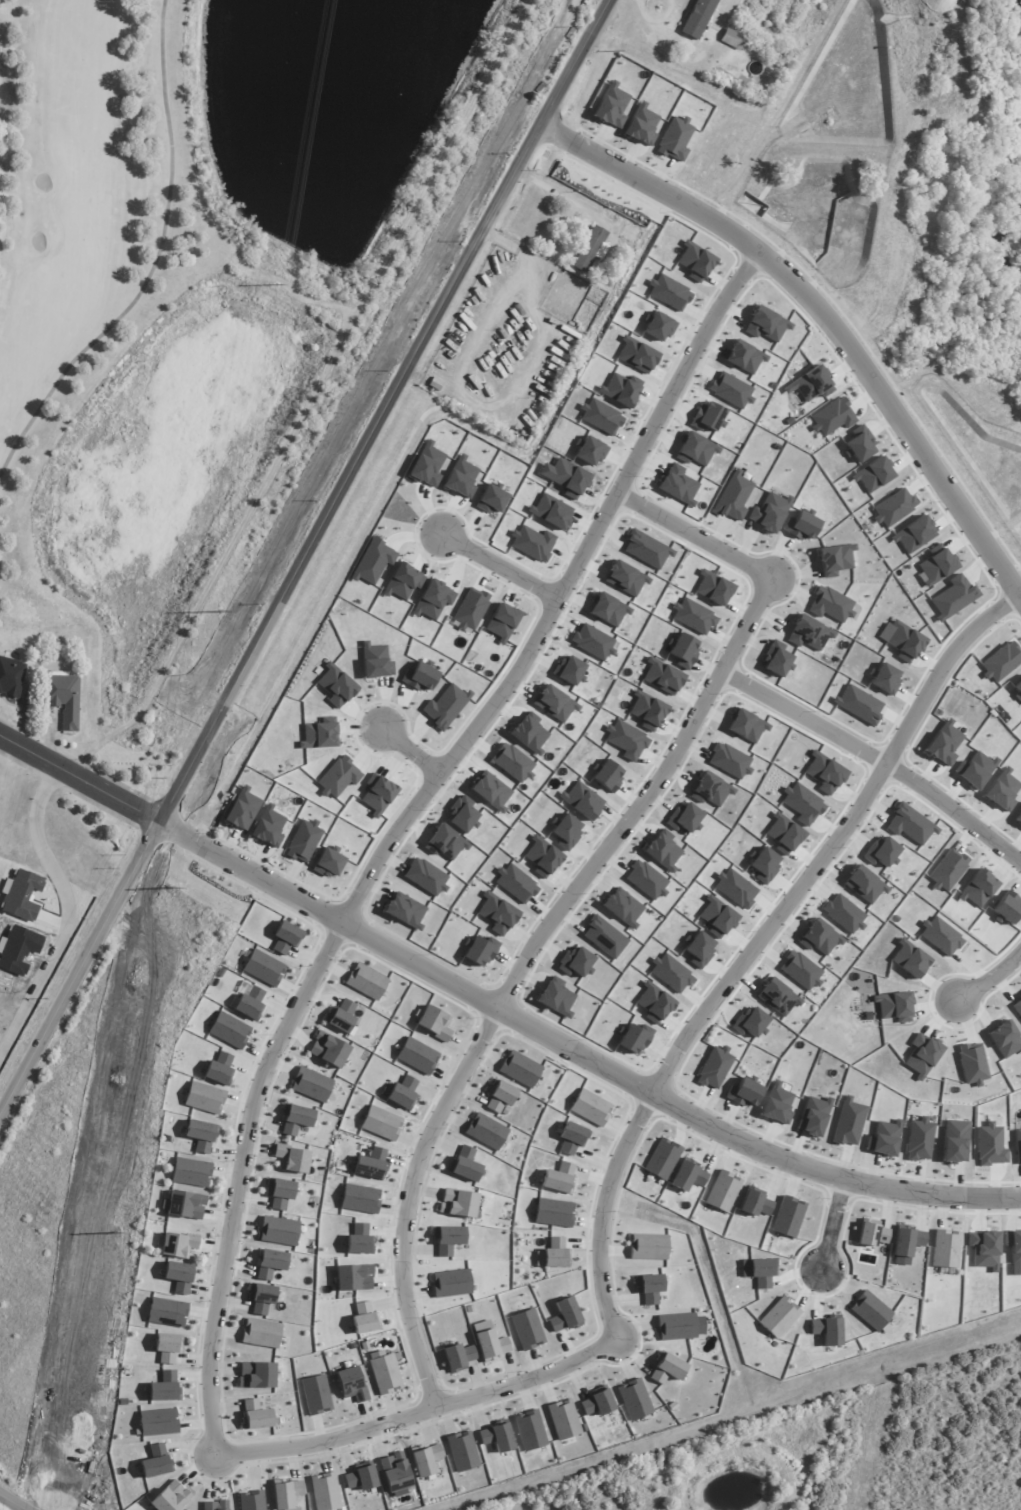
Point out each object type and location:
building: (698, 17)
road: (655, 21)
building: (731, 39)
building: (612, 106)
building: (642, 125)
building: (675, 139)
park: (951, 195)
building: (629, 233)
building: (589, 249)
park: (77, 256)
building: (695, 261)
building: (606, 281)
building: (669, 292)
road: (822, 313)
building: (766, 324)
building: (658, 326)
building: (637, 355)
building: (745, 357)
building: (812, 384)
building: (621, 389)
building: (731, 390)
building: (601, 417)
building: (708, 417)
building: (832, 417)
building: (859, 444)
building: (696, 449)
building: (590, 450)
building: (427, 465)
building: (873, 474)
building: (461, 477)
building: (570, 478)
building: (677, 485)
building: (733, 497)
building: (492, 499)
building: (893, 508)
building: (551, 511)
building: (770, 512)
building: (801, 525)
building: (914, 535)
building: (532, 543)
building: (646, 549)
building: (835, 559)
road: (302, 560)
building: (372, 561)
road: (499, 565)
building: (937, 567)
building: (625, 578)
building: (402, 582)
building: (713, 588)
building: (953, 597)
building: (432, 600)
building: (831, 605)
building: (470, 609)
building: (608, 609)
building: (693, 616)
building: (502, 622)
building: (809, 633)
building: (901, 639)
building: (593, 642)
building: (683, 650)
building: (777, 659)
building: (375, 661)
building: (569, 670)
building: (662, 676)
building: (420, 677)
building: (12, 678)
building: (884, 679)
building: (336, 685)
building: (1018, 688)
building: (66, 699)
building: (554, 704)
building: (859, 705)
building: (446, 706)
building: (647, 710)
building: (746, 726)
building: (529, 735)
building: (318, 736)
building: (626, 739)
building: (944, 743)
road: (410, 751)
road: (876, 757)
building: (729, 761)
building: (513, 762)
building: (976, 769)
building: (824, 772)
building: (607, 775)
building: (338, 777)
building: (710, 789)
building: (490, 790)
building: (1002, 791)
building: (379, 795)
building: (581, 801)
building: (802, 803)
building: (242, 809)
building: (463, 815)
building: (1018, 818)
building: (684, 819)
road: (403, 823)
building: (910, 824)
building: (268, 827)
building: (566, 832)
building: (783, 834)
building: (303, 840)
building: (445, 842)
building: (663, 850)
building: (882, 852)
building: (542, 856)
building: (328, 862)
building: (763, 864)
building: (948, 871)
building: (426, 876)
building: (646, 880)
building: (515, 883)
building: (864, 884)
building: (735, 888)
building: (978, 889)
road: (565, 897)
building: (623, 907)
building: (1007, 908)
road: (67, 910)
building: (405, 910)
building: (497, 914)
building: (844, 914)
building: (718, 917)
building: (940, 936)
building: (286, 937)
building: (604, 937)
building: (820, 938)
road: (755, 945)
building: (698, 949)
building: (481, 950)
building: (909, 959)
building: (575, 962)
building: (263, 968)
building: (801, 970)
building: (670, 973)
road: (990, 978)
building: (366, 981)
building: (556, 997)
building: (777, 997)
building: (653, 1002)
building: (250, 1003)
building: (894, 1006)
building: (1017, 1007)
road: (496, 1008)
building: (341, 1016)
building: (434, 1023)
building: (749, 1023)
building: (229, 1030)
building: (633, 1037)
building: (1005, 1039)
building: (329, 1050)
building: (417, 1055)
building: (923, 1056)
building: (973, 1064)
building: (714, 1067)
building: (520, 1069)
building: (220, 1070)
building: (311, 1085)
building: (403, 1093)
building: (744, 1093)
building: (499, 1096)
building: (204, 1098)
building: (776, 1104)
building: (590, 1107)
building: (813, 1116)
building: (295, 1118)
building: (848, 1122)
building: (381, 1123)
building: (486, 1132)
building: (201, 1135)
building: (572, 1138)
building: (884, 1138)
building: (919, 1139)
building: (955, 1141)
building: (1017, 1145)
building: (990, 1146)
building: (291, 1159)
building: (662, 1159)
building: (370, 1163)
building: (464, 1165)
building: (191, 1173)
building: (688, 1175)
building: (559, 1178)
building: (723, 1191)
building: (279, 1193)
building: (359, 1199)
building: (755, 1202)
building: (459, 1203)
building: (184, 1205)
building: (554, 1212)
building: (788, 1217)
road: (832, 1223)
building: (278, 1231)
building: (871, 1233)
building: (448, 1239)
building: (359, 1240)
building: (906, 1241)
building: (177, 1244)
building: (648, 1247)
building: (944, 1249)
building: (984, 1250)
building: (1014, 1250)
building: (553, 1254)
building: (270, 1263)
building: (762, 1271)
building: (179, 1276)
building: (353, 1278)
building: (451, 1283)
building: (649, 1288)
building: (261, 1298)
building: (870, 1310)
building: (167, 1312)
building: (565, 1315)
building: (778, 1317)
building: (364, 1318)
building: (676, 1326)
building: (527, 1329)
building: (828, 1330)
building: (261, 1333)
building: (489, 1342)
building: (167, 1347)
building: (457, 1357)
building: (666, 1368)
building: (385, 1374)
building: (256, 1375)
building: (351, 1384)
building: (164, 1388)
building: (315, 1395)
building: (635, 1399)
building: (598, 1402)
building: (257, 1415)
road: (419, 1415)
building: (563, 1420)
building: (158, 1422)
building: (530, 1431)
building: (497, 1436)
building: (462, 1451)
building: (425, 1458)
building: (156, 1463)
building: (394, 1472)
building: (360, 1477)
building: (325, 1492)
building: (285, 1493)
building: (170, 1497)
building: (251, 1500)
road: (11, 1503)
building: (214, 1505)
building: (496, 1508)

